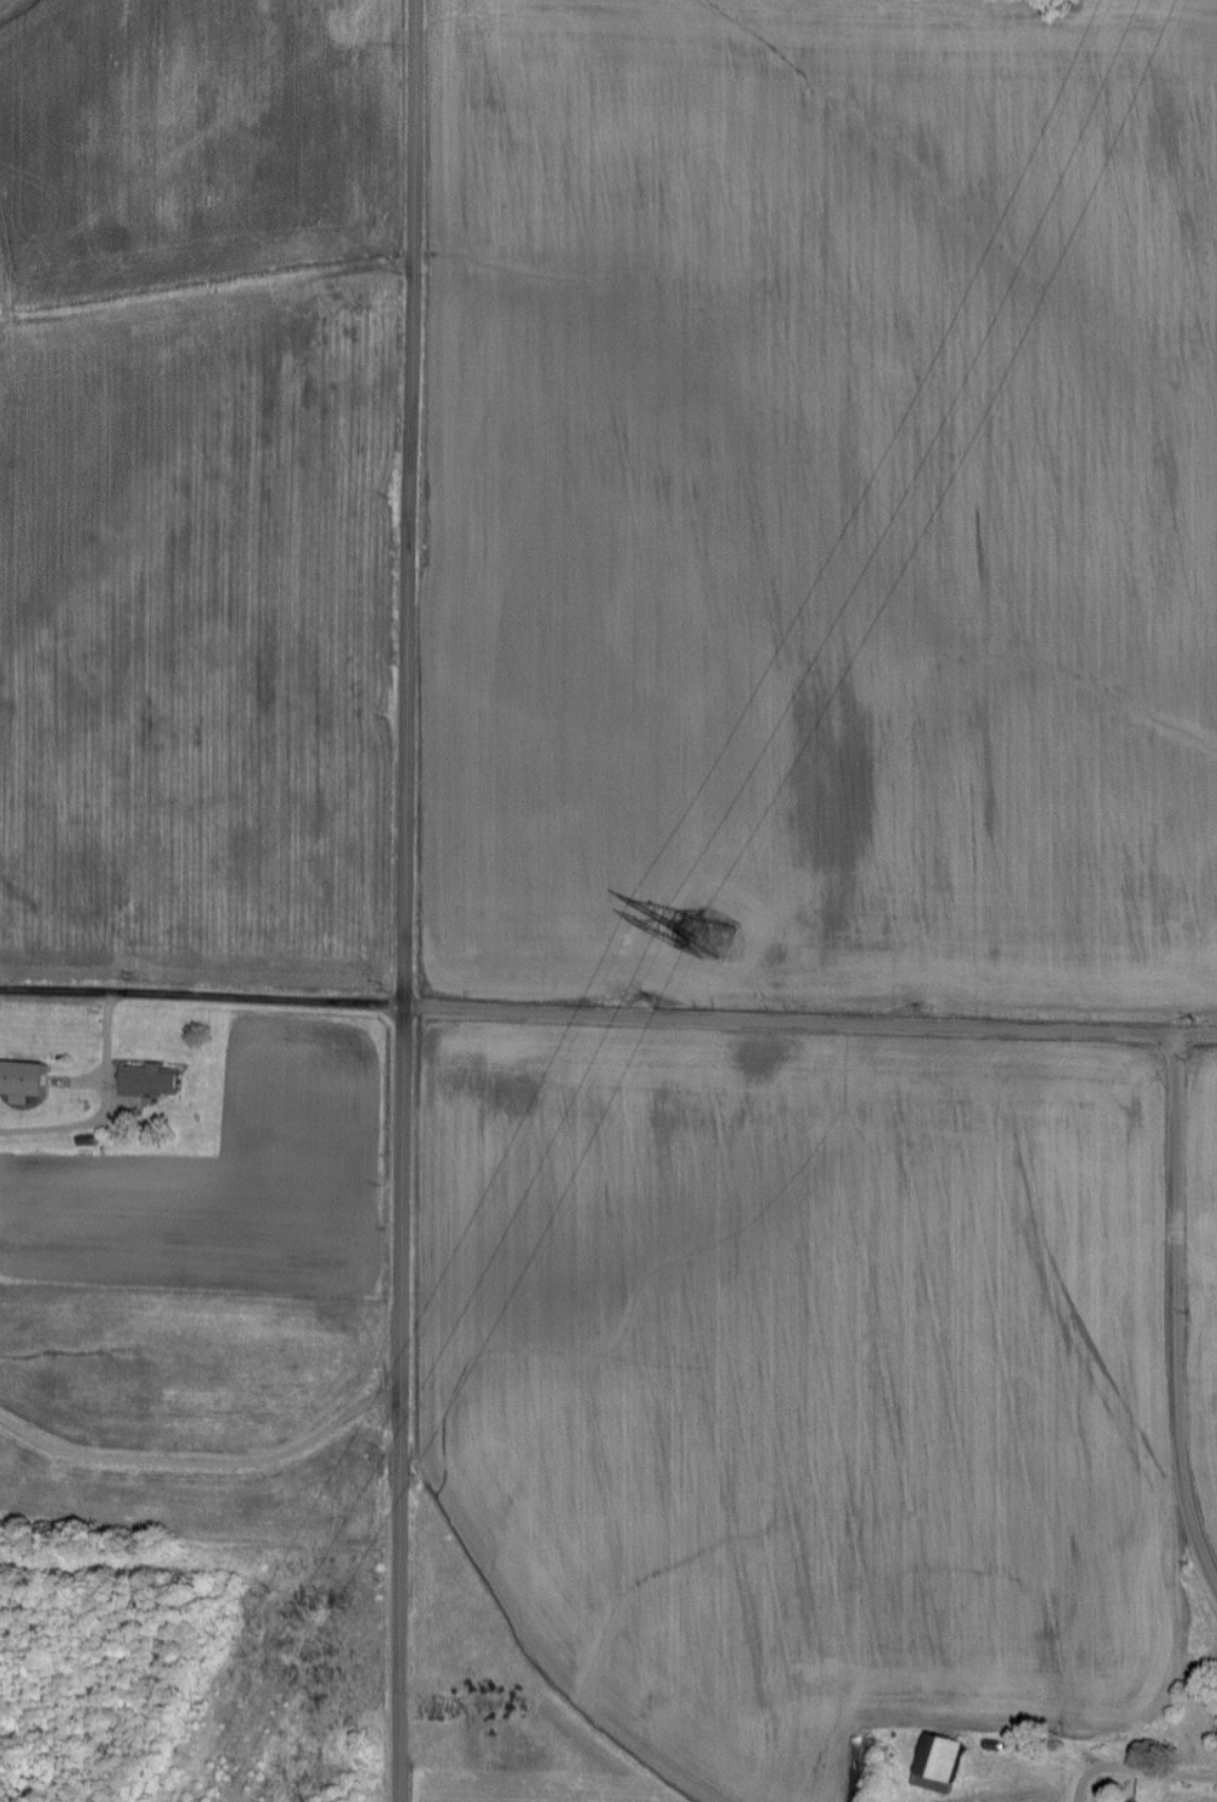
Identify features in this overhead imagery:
road: (404, 900)
power tower: (715, 924)
road: (607, 1015)
building: (22, 1077)
building: (149, 1080)
road: (101, 1108)
road: (1171, 1310)
road: (205, 1464)
building: (938, 1763)
building: (863, 1769)
road: (1139, 1771)

